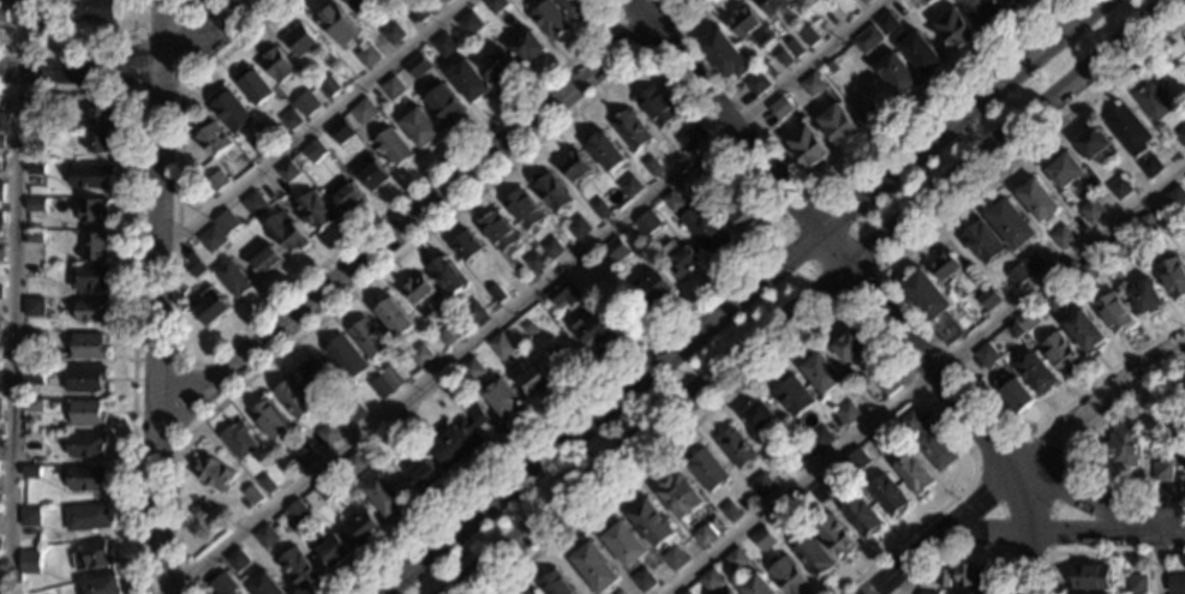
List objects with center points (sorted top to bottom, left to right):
building: (926, 0)
building: (1009, 0)
building: (444, 1)
building: (803, 1)
building: (866, 1)
building: (495, 5)
building: (771, 5)
building: (364, 6)
building: (576, 6)
road: (198, 7)
building: (96, 10)
building: (983, 10)
building: (36, 11)
building: (419, 11)
building: (2, 14)
building: (833, 17)
building: (547, 18)
building: (886, 22)
building: (337, 23)
building: (469, 23)
building: (956, 28)
building: (753, 30)
building: (391, 32)
building: (808, 35)
building: (299, 40)
building: (867, 40)
building: (443, 44)
road: (86, 46)
building: (527, 46)
building: (795, 48)
building: (849, 52)
building: (920, 52)
road: (644, 53)
building: (367, 55)
building: (725, 55)
building: (784, 58)
building: (276, 65)
building: (417, 65)
building: (497, 66)
road: (132, 68)
road: (657, 68)
road: (180, 70)
building: (898, 73)
building: (468, 80)
building: (758, 83)
building: (812, 84)
building: (253, 86)
building: (330, 86)
building: (393, 88)
building: (1153, 101)
building: (444, 102)
building: (657, 106)
building: (304, 107)
building: (780, 108)
building: (229, 110)
building: (363, 110)
building: (100, 113)
road: (724, 116)
building: (30, 119)
building: (291, 119)
building: (4, 122)
building: (839, 125)
road: (317, 126)
building: (420, 128)
building: (632, 130)
building: (340, 131)
building: (1127, 131)
building: (36, 136)
building: (1181, 136)
building: (213, 139)
building: (688, 139)
building: (1, 140)
building: (98, 143)
building: (261, 144)
building: (1095, 144)
building: (809, 145)
building: (393, 146)
building: (313, 150)
building: (606, 151)
building: (708, 163)
building: (652, 166)
building: (1150, 166)
building: (574, 167)
building: (36, 168)
building: (1066, 170)
building: (287, 172)
building: (371, 172)
building: (91, 175)
building: (216, 181)
building: (629, 186)
road: (836, 188)
building: (1119, 188)
building: (1, 191)
building: (550, 191)
building: (345, 194)
building: (1174, 199)
building: (256, 200)
building: (671, 200)
building: (1039, 200)
building: (35, 204)
road: (417, 208)
building: (523, 209)
building: (600, 209)
building: (92, 210)
building: (315, 211)
building: (1093, 211)
building: (747, 214)
building: (1, 216)
building: (226, 222)
building: (646, 222)
building: (1011, 223)
building: (1147, 226)
building: (577, 227)
building: (704, 230)
building: (498, 232)
building: (287, 233)
building: (34, 236)
building: (1063, 238)
building: (211, 239)
building: (982, 242)
building: (94, 246)
building: (467, 246)
building: (550, 248)
building: (615, 248)
building: (1115, 248)
building: (1, 254)
building: (1018, 256)
building: (681, 258)
building: (267, 262)
building: (535, 262)
building: (1033, 262)
building: (194, 264)
building: (946, 266)
building: (1088, 272)
road: (134, 275)
building: (447, 275)
building: (1017, 275)
building: (1174, 276)
building: (89, 277)
building: (232, 277)
road: (881, 281)
building: (654, 286)
building: (1, 292)
building: (419, 294)
building: (496, 294)
road: (807, 294)
building: (561, 295)
road: (13, 296)
road: (525, 296)
building: (1145, 296)
road: (157, 298)
building: (1054, 298)
road: (744, 299)
road: (842, 299)
building: (988, 299)
building: (930, 305)
building: (34, 306)
building: (211, 306)
building: (91, 311)
building: (472, 312)
building: (1114, 312)
building: (394, 317)
road: (819, 318)
building: (1028, 318)
road: (252, 322)
building: (528, 329)
building: (1015, 329)
building: (0, 331)
building: (594, 331)
building: (1084, 331)
building: (444, 336)
building: (34, 337)
building: (367, 337)
building: (89, 346)
building: (501, 346)
building: (849, 346)
road: (924, 350)
building: (1061, 354)
building: (420, 355)
building: (986, 355)
building: (346, 358)
road: (156, 362)
building: (472, 368)
building: (316, 372)
building: (821, 372)
building: (32, 373)
building: (1035, 373)
building: (1180, 376)
building: (393, 377)
building: (85, 378)
building: (534, 379)
road: (923, 380)
building: (887, 385)
building: (0, 388)
building: (381, 388)
building: (1015, 394)
building: (791, 396)
road: (1099, 397)
building: (294, 398)
building: (503, 400)
building: (31, 404)
building: (54, 407)
building: (0, 408)
building: (355, 410)
building: (88, 413)
building: (848, 413)
building: (758, 414)
building: (269, 419)
building: (1181, 421)
building: (397, 426)
building: (328, 433)
building: (820, 438)
building: (238, 439)
building: (457, 439)
building: (928, 440)
building: (31, 442)
building: (878, 443)
road: (1071, 443)
building: (86, 445)
building: (1155, 445)
building: (1123, 446)
building: (735, 448)
building: (806, 450)
building: (303, 454)
building: (1180, 460)
building: (856, 461)
building: (354, 463)
building: (706, 469)
building: (30, 472)
building: (1162, 472)
building: (1183, 472)
building: (214, 473)
building: (912, 473)
building: (425, 474)
road: (1070, 474)
building: (85, 478)
road: (1048, 479)
building: (828, 482)
building: (267, 484)
building: (1179, 484)
building: (761, 485)
building: (323, 487)
building: (252, 494)
building: (383, 494)
building: (680, 496)
building: (887, 496)
building: (802, 503)
road: (1001, 508)
building: (201, 510)
building: (297, 511)
building: (731, 511)
building: (861, 516)
building: (29, 517)
building: (86, 517)
building: (788, 517)
building: (652, 523)
building: (364, 527)
road: (1030, 530)
building: (708, 532)
building: (834, 535)
building: (265, 536)
building: (762, 539)
road: (1013, 540)
building: (623, 542)
building: (333, 550)
road: (963, 552)
road: (1095, 552)
building: (92, 556)
building: (813, 557)
building: (674, 558)
building: (735, 559)
building: (237, 560)
building: (29, 562)
building: (594, 566)
road: (1159, 566)
building: (299, 569)
building: (786, 575)
building: (962, 575)
building: (1090, 577)
road: (905, 578)
building: (642, 580)
building: (710, 580)
building: (223, 584)
building: (556, 584)
building: (1137, 584)
building: (1177, 584)
building: (102, 586)
building: (264, 586)
building: (756, 586)
building: (533, 592)
building: (620, 592)
building: (684, 592)
building: (730, 593)
building: (928, 593)
building: (966, 593)
building: (1087, 593)
building: (1147, 593)

